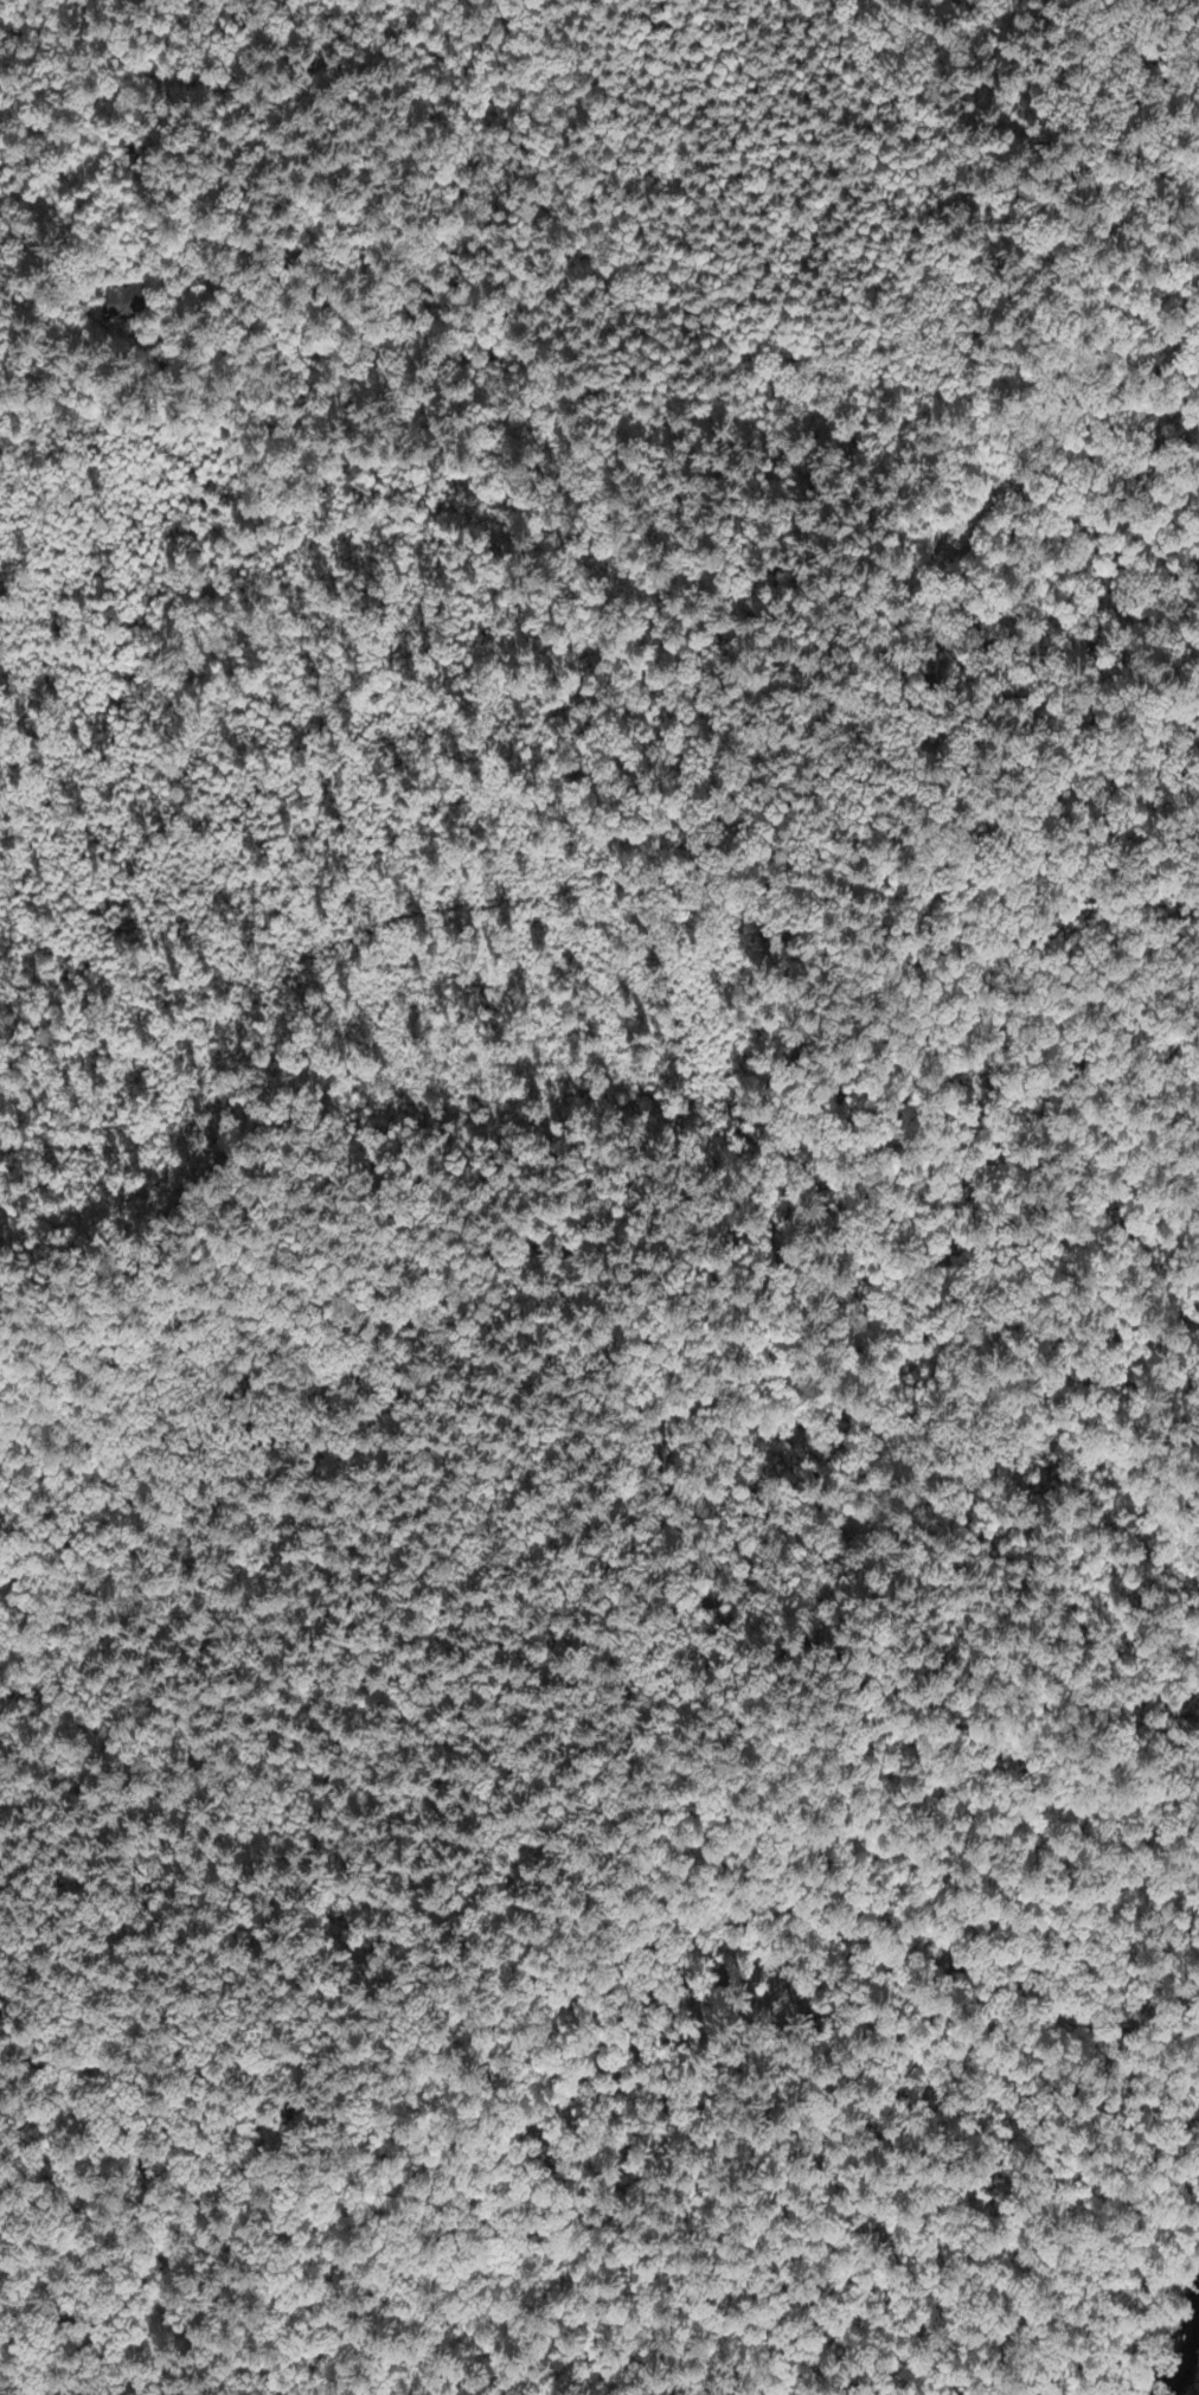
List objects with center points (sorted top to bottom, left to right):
road: (286, 129)
building: (124, 303)
river: (1180, 2358)

